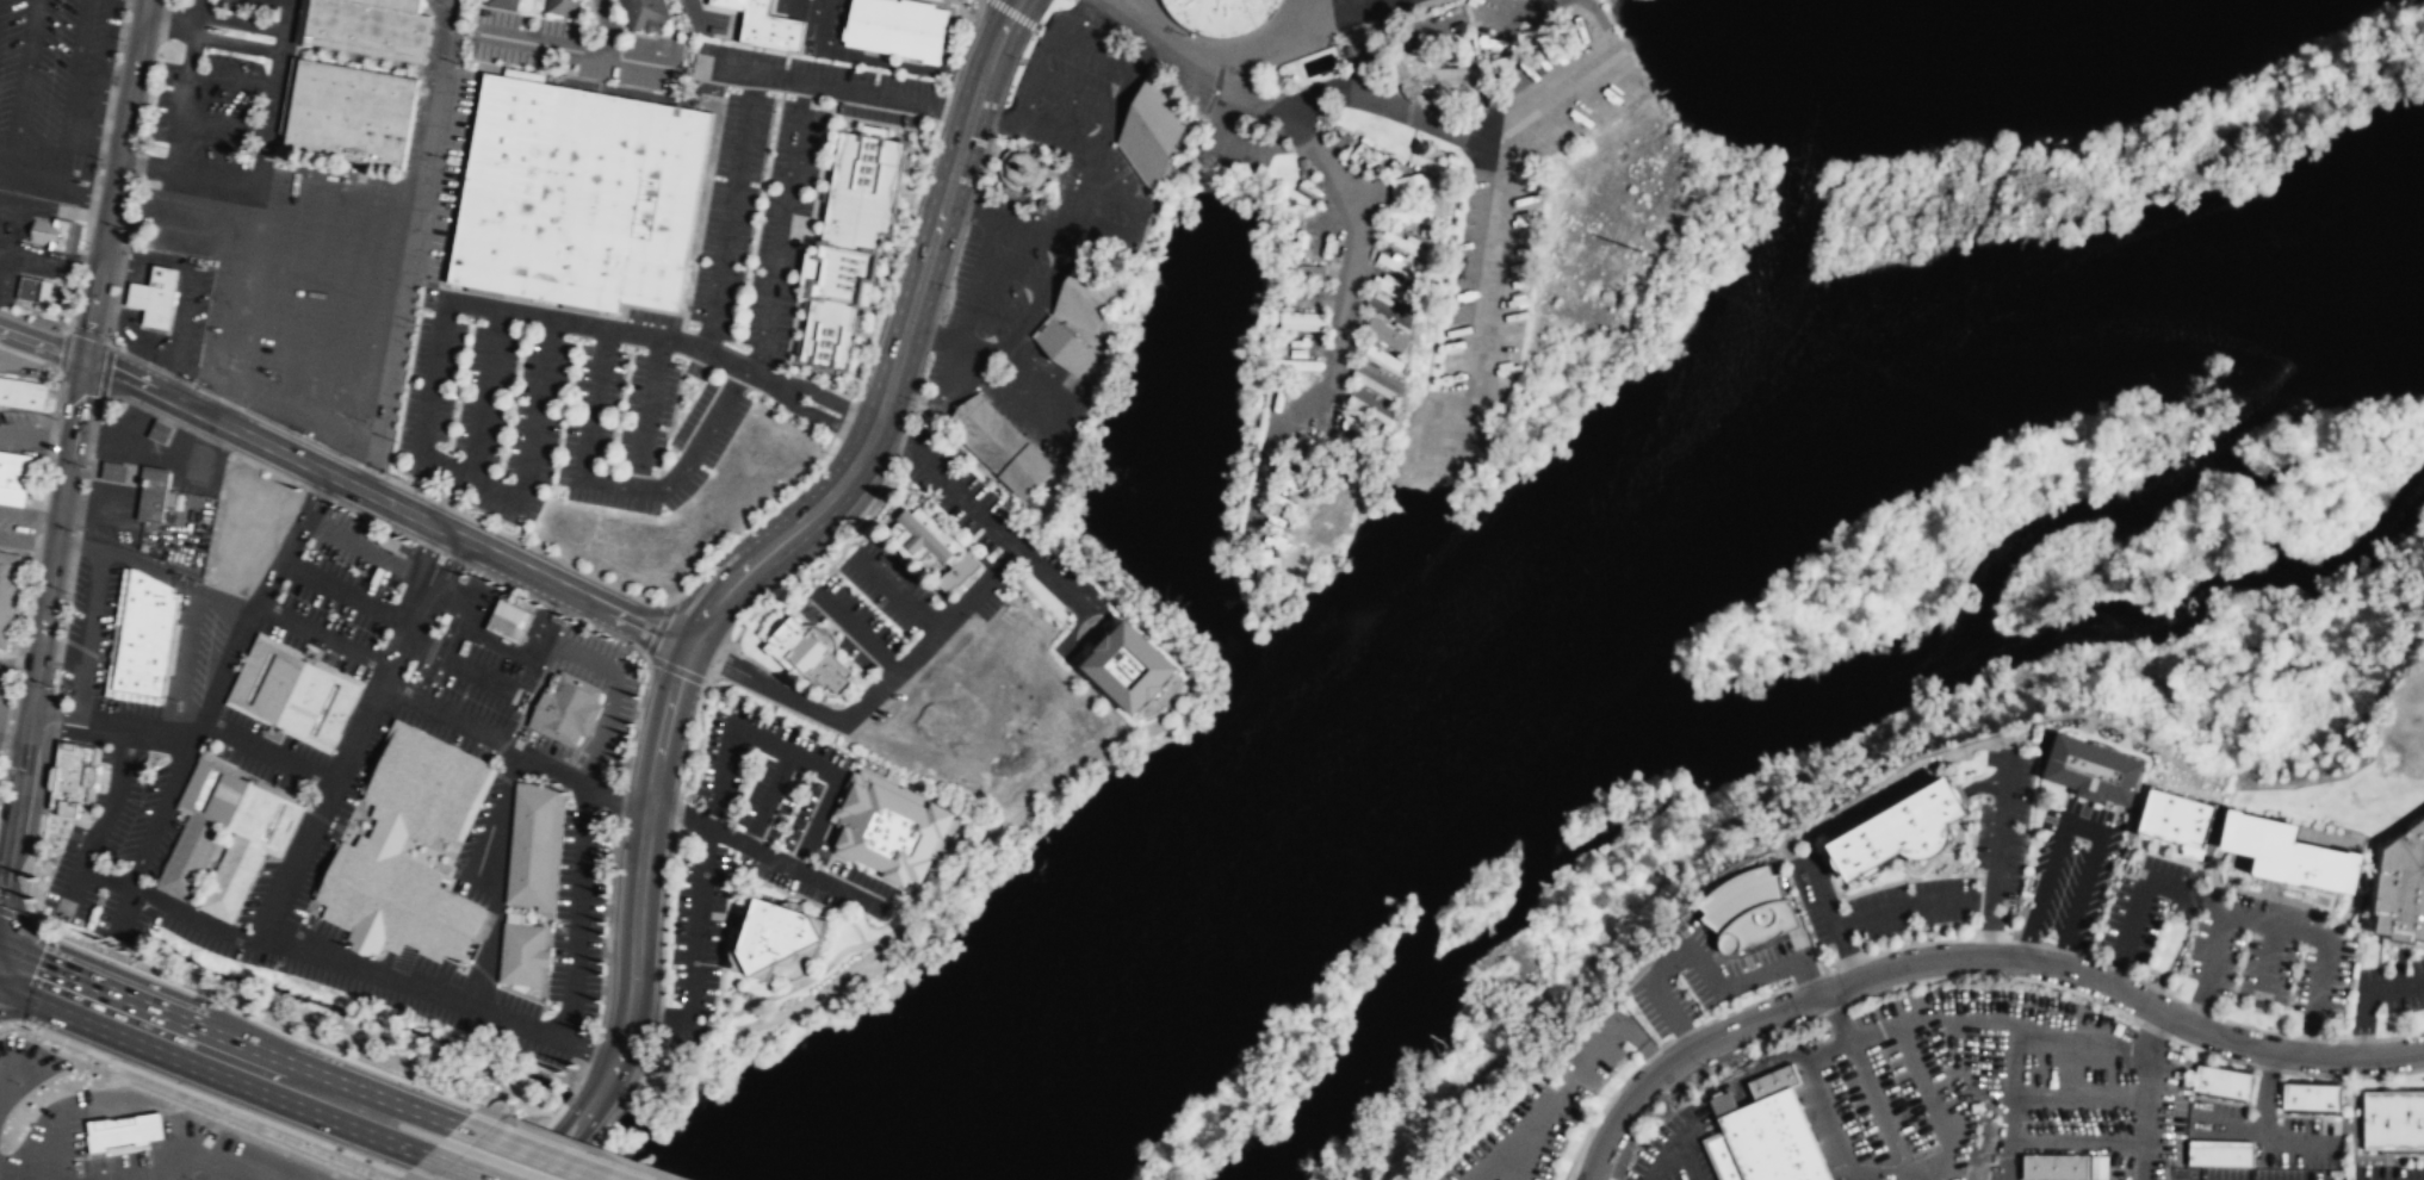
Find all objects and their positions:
road: (936, 1)
building: (502, 2)
building: (392, 5)
road: (517, 6)
road: (496, 7)
road: (532, 7)
building: (563, 7)
road: (593, 12)
building: (644, 12)
road: (523, 13)
road: (1010, 14)
building: (1220, 14)
road: (216, 15)
road: (563, 19)
building: (767, 25)
road: (608, 27)
road: (608, 27)
building: (899, 27)
building: (368, 30)
road: (971, 30)
road: (1102, 30)
road: (193, 32)
road: (643, 33)
road: (671, 37)
street lamp: (122, 39)
road: (211, 39)
road: (572, 50)
road: (326, 61)
street lamp: (785, 64)
road: (955, 70)
road: (293, 72)
road: (756, 74)
road: (26, 77)
road: (231, 80)
road: (73, 81)
street lamp: (874, 81)
building: (1434, 82)
road: (946, 87)
road: (275, 92)
parking lot: (54, 93)
street lamp: (706, 97)
parking lot: (221, 98)
road: (940, 107)
street lamp: (144, 110)
road: (947, 110)
building: (352, 112)
road: (180, 116)
road: (223, 124)
road: (934, 126)
building: (1152, 131)
road: (1118, 132)
road: (7, 153)
building: (1353, 154)
road: (37, 159)
street lamp: (101, 159)
road: (145, 164)
street lamp: (765, 168)
building: (1022, 169)
road: (792, 172)
road: (58, 176)
road: (213, 176)
road: (1114, 176)
road: (116, 179)
road: (1086, 184)
road: (814, 192)
road: (83, 195)
building: (578, 195)
building: (1411, 199)
road: (731, 213)
road: (1089, 222)
street lamp: (125, 230)
building: (52, 232)
building: (850, 241)
building: (1403, 244)
parking lot: (24, 246)
road: (410, 247)
power tower: (1639, 250)
road: (122, 262)
road: (889, 263)
building: (1397, 267)
building: (1310, 273)
street lamp: (746, 278)
street lamp: (949, 286)
road: (464, 288)
building: (27, 290)
building: (1396, 291)
building: (1087, 292)
building: (154, 296)
road: (1058, 297)
building: (1390, 313)
road: (526, 315)
road: (112, 319)
building: (1302, 321)
road: (644, 333)
road: (88, 335)
street lamp: (107, 335)
building: (1385, 335)
road: (42, 342)
building: (1302, 344)
building: (1064, 347)
road: (731, 350)
road: (899, 350)
road: (135, 356)
building: (1383, 361)
road: (727, 362)
road: (998, 364)
road: (156, 367)
building: (1295, 368)
road: (826, 372)
road: (179, 378)
road: (811, 378)
street lamp: (197, 380)
building: (1376, 380)
road: (204, 390)
building: (21, 393)
road: (484, 393)
building: (1276, 398)
road: (106, 399)
road: (829, 399)
road: (230, 402)
road: (138, 406)
street lamp: (455, 406)
street lamp: (916, 406)
building: (1375, 408)
road: (647, 411)
road: (910, 415)
road: (839, 416)
road: (820, 418)
street lamp: (366, 421)
road: (173, 422)
building: (165, 431)
street lamp: (306, 433)
road: (94, 435)
road: (300, 436)
road: (206, 439)
road: (901, 442)
building: (1002, 445)
road: (262, 466)
road: (370, 468)
street lamp: (386, 470)
building: (114, 472)
road: (88, 473)
building: (13, 477)
road: (479, 483)
road: (618, 483)
road: (405, 486)
building: (153, 492)
street lamp: (428, 492)
road: (318, 493)
road: (448, 498)
road: (385, 501)
road: (442, 504)
road: (977, 508)
road: (82, 509)
road: (752, 518)
road: (373, 520)
road: (79, 530)
parking lot: (1003, 533)
street lamp: (742, 534)
road: (76, 545)
building: (934, 545)
street lamp: (539, 546)
road: (367, 549)
street lamp: (830, 549)
road: (440, 552)
road: (894, 552)
road: (564, 561)
road: (831, 563)
street lamp: (465, 569)
river: (1577, 577)
road: (510, 585)
building: (7, 590)
road: (894, 590)
road: (346, 591)
building: (1040, 594)
parking lot: (1040, 594)
road: (69, 596)
road: (265, 596)
street lamp: (643, 596)
road: (1071, 596)
road: (1096, 597)
road: (1087, 605)
road: (554, 613)
street lamp: (568, 617)
flagpole: (17, 619)
building: (509, 620)
road: (837, 620)
building: (441, 626)
road: (1105, 627)
road: (41, 628)
road: (603, 628)
road: (659, 628)
road: (827, 629)
road: (854, 629)
road: (1093, 631)
building: (145, 634)
road: (324, 636)
road: (822, 636)
road: (87, 651)
road: (112, 654)
building: (808, 656)
road: (392, 658)
road: (720, 663)
building: (1127, 666)
road: (677, 670)
road: (793, 676)
street lamp: (641, 681)
road: (782, 682)
street lamp: (51, 685)
building: (293, 691)
road: (532, 691)
road: (227, 701)
building: (564, 707)
road: (838, 720)
road: (1152, 722)
road: (76, 725)
road: (485, 732)
road: (12, 738)
road: (157, 739)
road: (699, 739)
road: (786, 750)
road: (268, 751)
road: (491, 766)
road: (372, 771)
building: (2091, 771)
road: (721, 775)
building: (70, 776)
road: (504, 778)
building: (423, 787)
street lamp: (620, 788)
road: (768, 797)
road: (180, 799)
road: (616, 799)
road: (165, 801)
road: (472, 811)
road: (676, 811)
road: (322, 819)
road: (699, 821)
road: (817, 821)
building: (2180, 821)
road: (101, 822)
road: (2000, 825)
building: (894, 827)
road: (2079, 827)
building: (1897, 833)
building: (386, 836)
building: (256, 839)
building: (533, 845)
road: (2143, 849)
building: (2286, 851)
road: (428, 852)
road: (298, 861)
road: (851, 863)
road: (423, 864)
road: (509, 865)
road: (448, 870)
road: (813, 875)
road: (746, 876)
road: (497, 877)
road: (639, 877)
road: (247, 883)
road: (209, 884)
building: (2401, 886)
road: (1822, 888)
road: (729, 892)
road: (2189, 892)
road: (2141, 893)
road: (551, 898)
street lamp: (606, 900)
building: (396, 901)
road: (192, 902)
road: (1911, 902)
building: (1748, 912)
road: (16, 913)
road: (579, 913)
road: (315, 920)
road: (738, 920)
road: (2275, 925)
road: (698, 926)
road: (855, 926)
road: (1989, 927)
road: (309, 934)
building: (775, 938)
parking lot: (2403, 942)
road: (663, 945)
road: (1847, 952)
building: (522, 954)
road: (2174, 954)
road: (2422, 955)
road: (1697, 956)
road: (1973, 956)
road: (351, 957)
road: (833, 957)
road: (467, 959)
road: (2269, 961)
road: (780, 962)
road: (2399, 963)
road: (721, 967)
road: (793, 969)
road: (484, 973)
road: (1806, 976)
road: (2393, 985)
road: (2156, 987)
road: (2197, 1007)
road: (2197, 1008)
street lamp: (599, 1012)
road: (537, 1014)
road: (1842, 1016)
road: (652, 1018)
road: (2360, 1023)
road: (265, 1024)
road: (2252, 1026)
road: (2027, 1027)
road: (2153, 1031)
road: (173, 1035)
road: (2311, 1036)
road: (2399, 1036)
road: (2310, 1037)
road: (1688, 1038)
road: (2336, 1039)
road: (2361, 1039)
road: (1644, 1047)
street lamp: (134, 1064)
road: (1923, 1083)
building: (2222, 1083)
road: (2265, 1092)
road: (1990, 1093)
road: (1561, 1095)
building: (2311, 1095)
road: (209, 1099)
road: (622, 1104)
road: (1878, 1105)
street lamp: (237, 1106)
road: (2146, 1108)
road: (1595, 1114)
building: (2393, 1119)
road: (1830, 1124)
road: (545, 1125)
road: (2227, 1129)
building: (122, 1131)
road: (486, 1132)
road: (2298, 1139)
road: (1681, 1141)
road: (546, 1142)
building: (1767, 1142)
road: (2077, 1142)
street lamp: (341, 1147)
road: (568, 1147)
road: (595, 1149)
road: (419, 1150)
building: (2219, 1153)
road: (1662, 1160)
road: (2008, 1161)
road: (1839, 1166)
building: (2056, 1168)
building: (2098, 1168)
road: (2146, 1174)
road: (1941, 1176)

